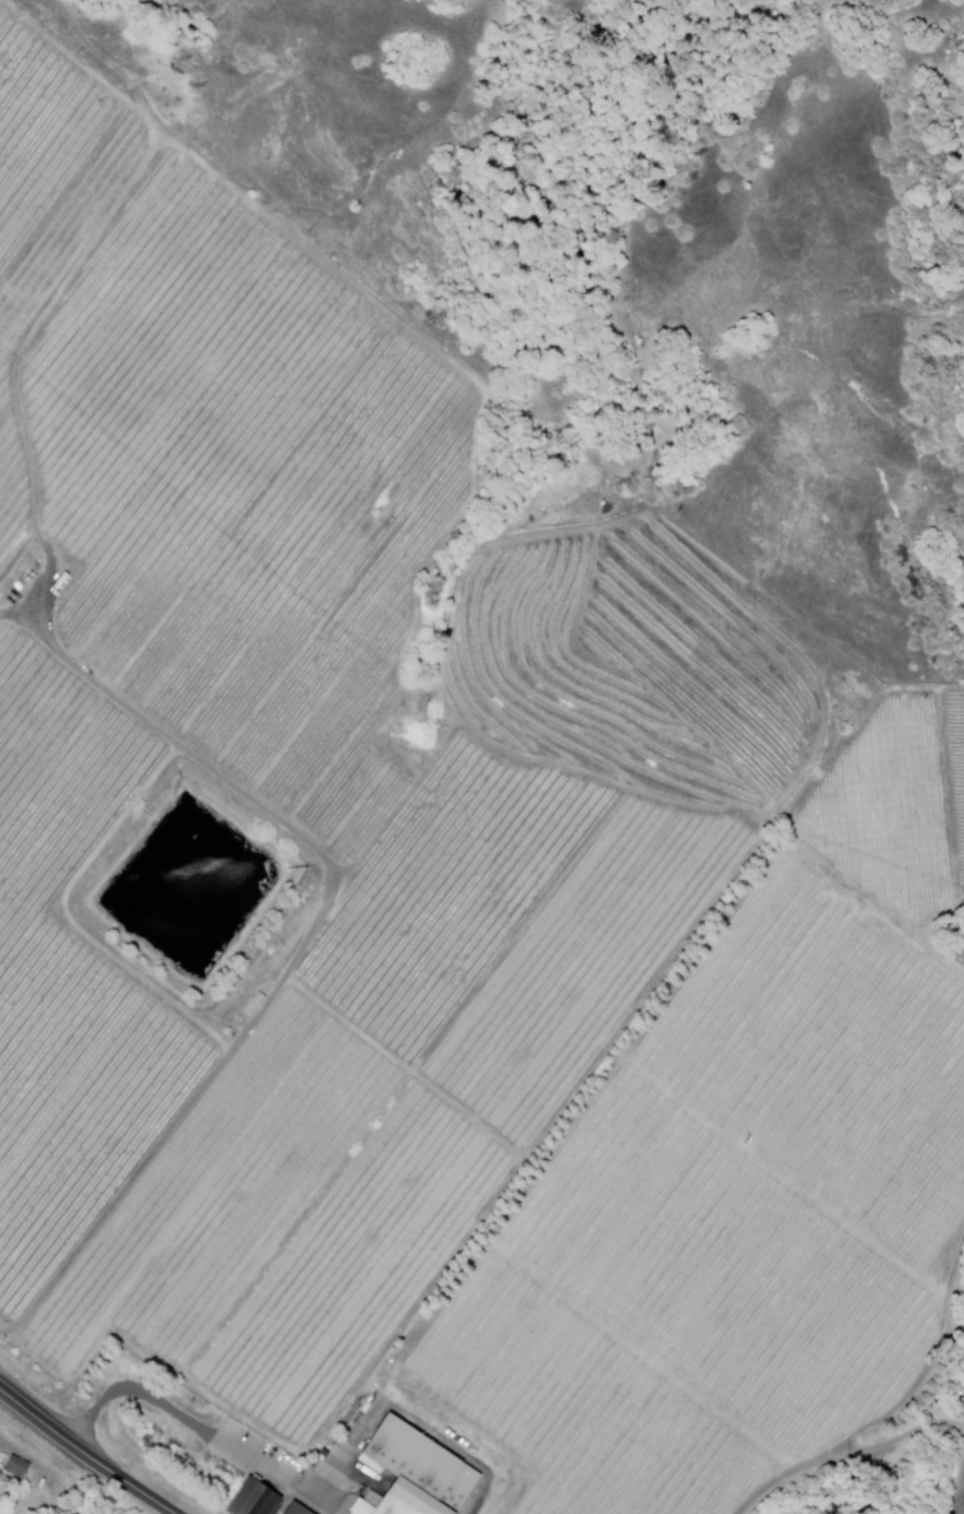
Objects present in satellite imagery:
road: (884, 10)
road: (72, 282)
building: (957, 957)
building: (251, 1002)
road: (199, 1428)
road: (85, 1453)
building: (12, 1466)
building: (407, 1473)
building: (250, 1499)
building: (292, 1509)

